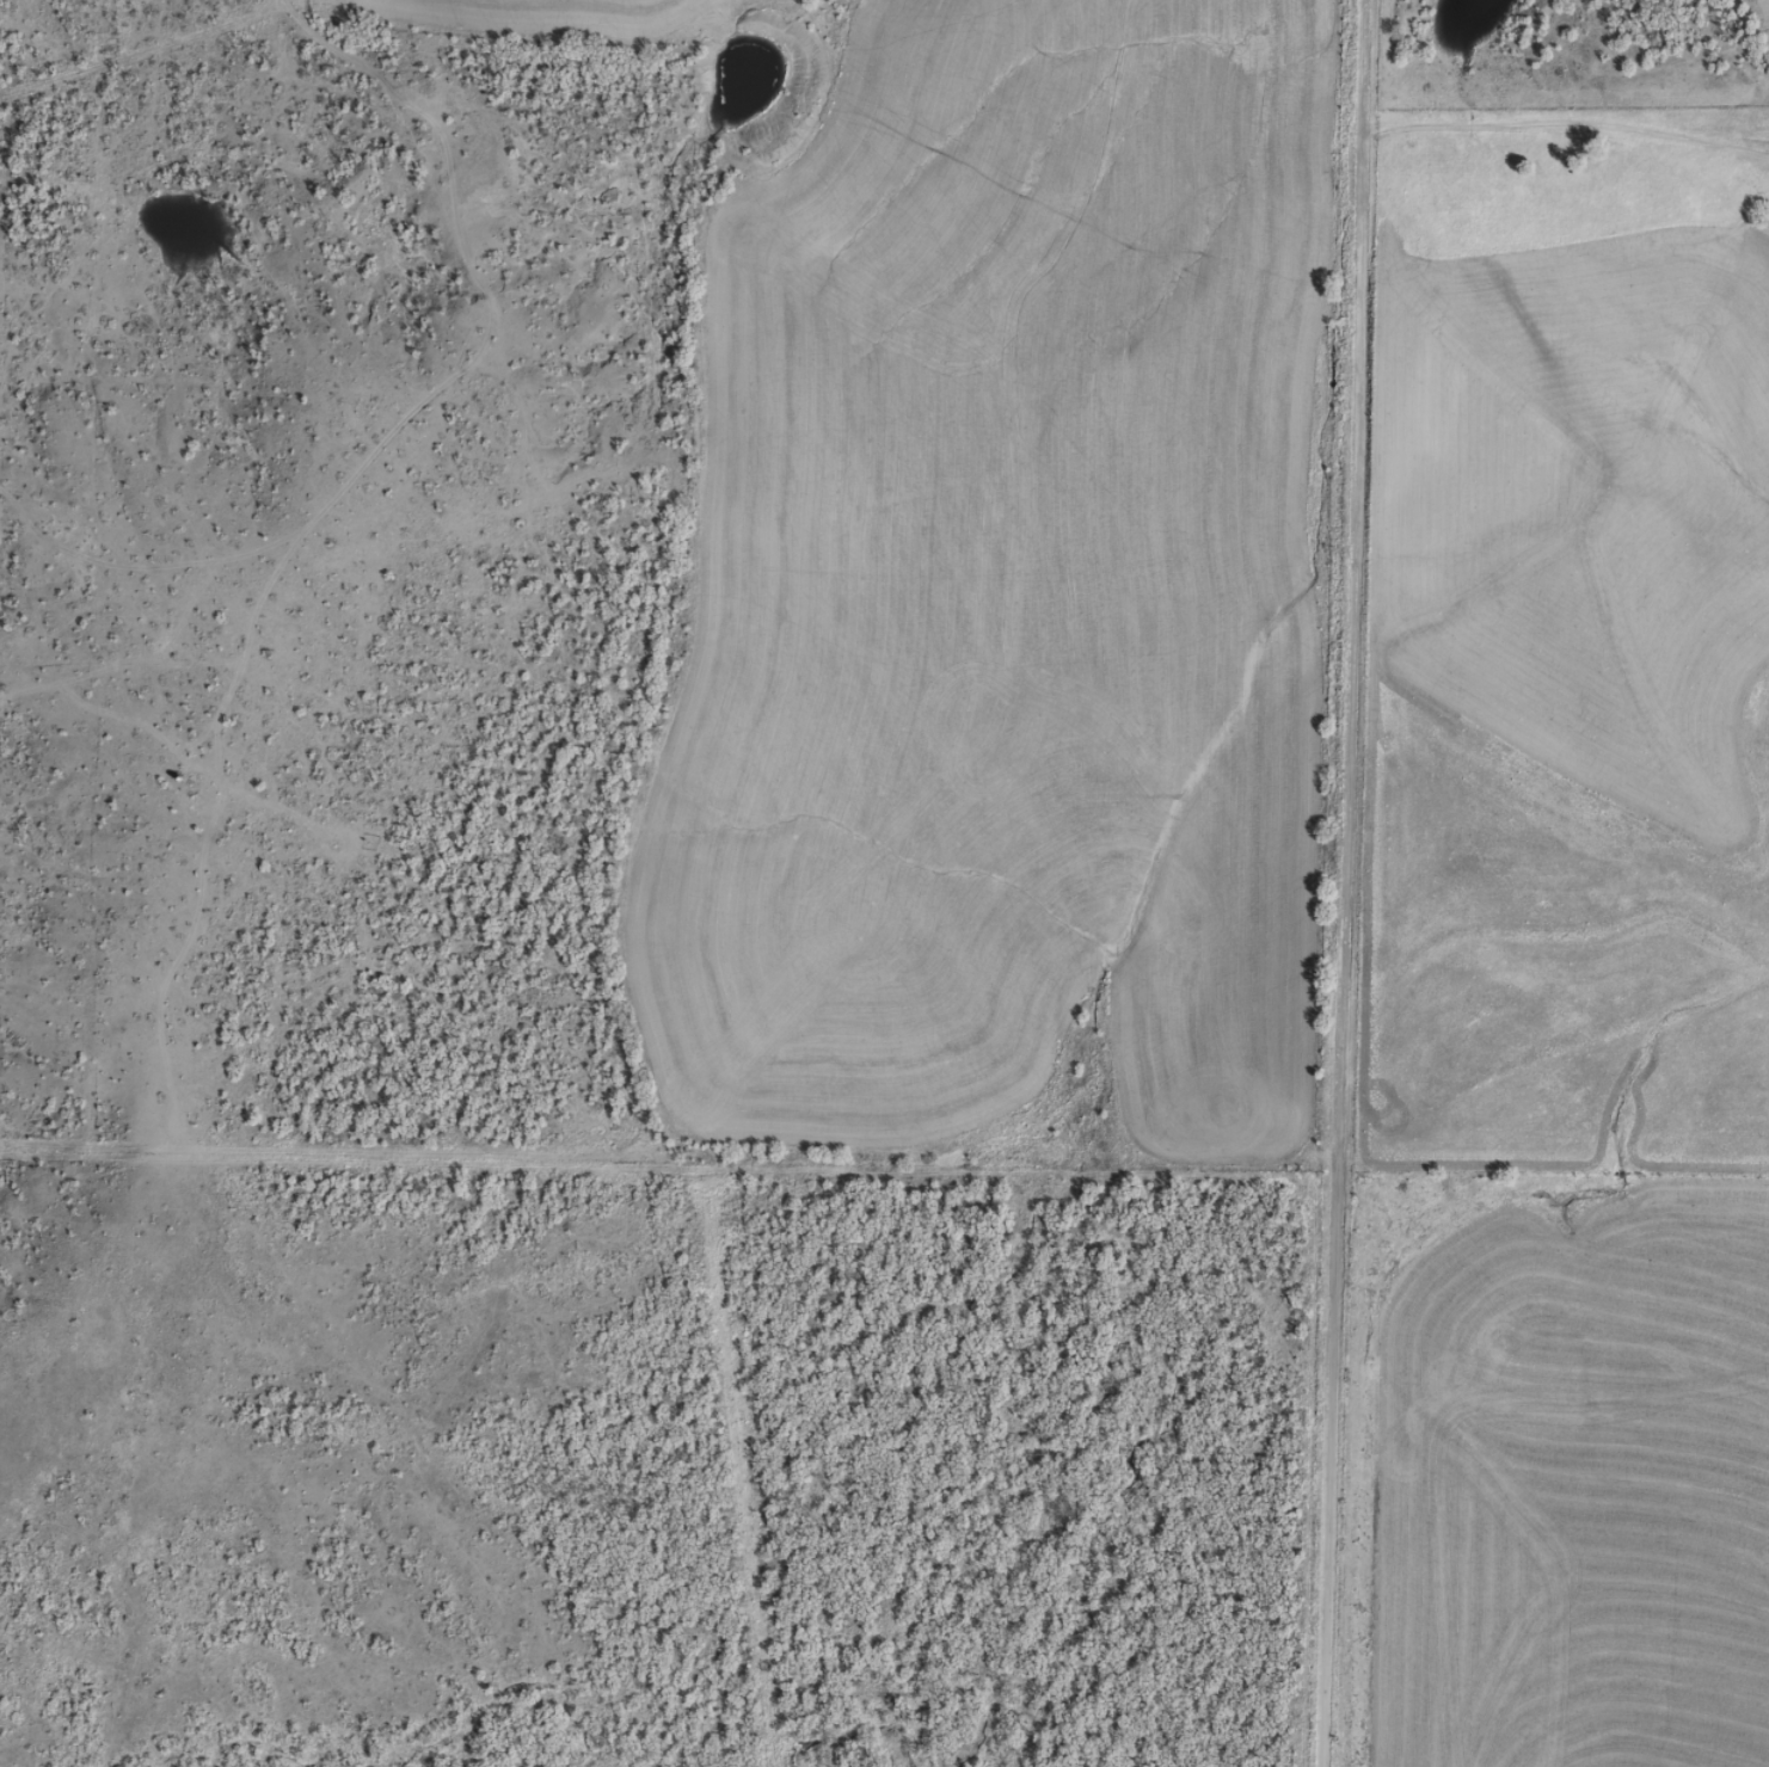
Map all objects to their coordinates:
road: (1350, 883)

